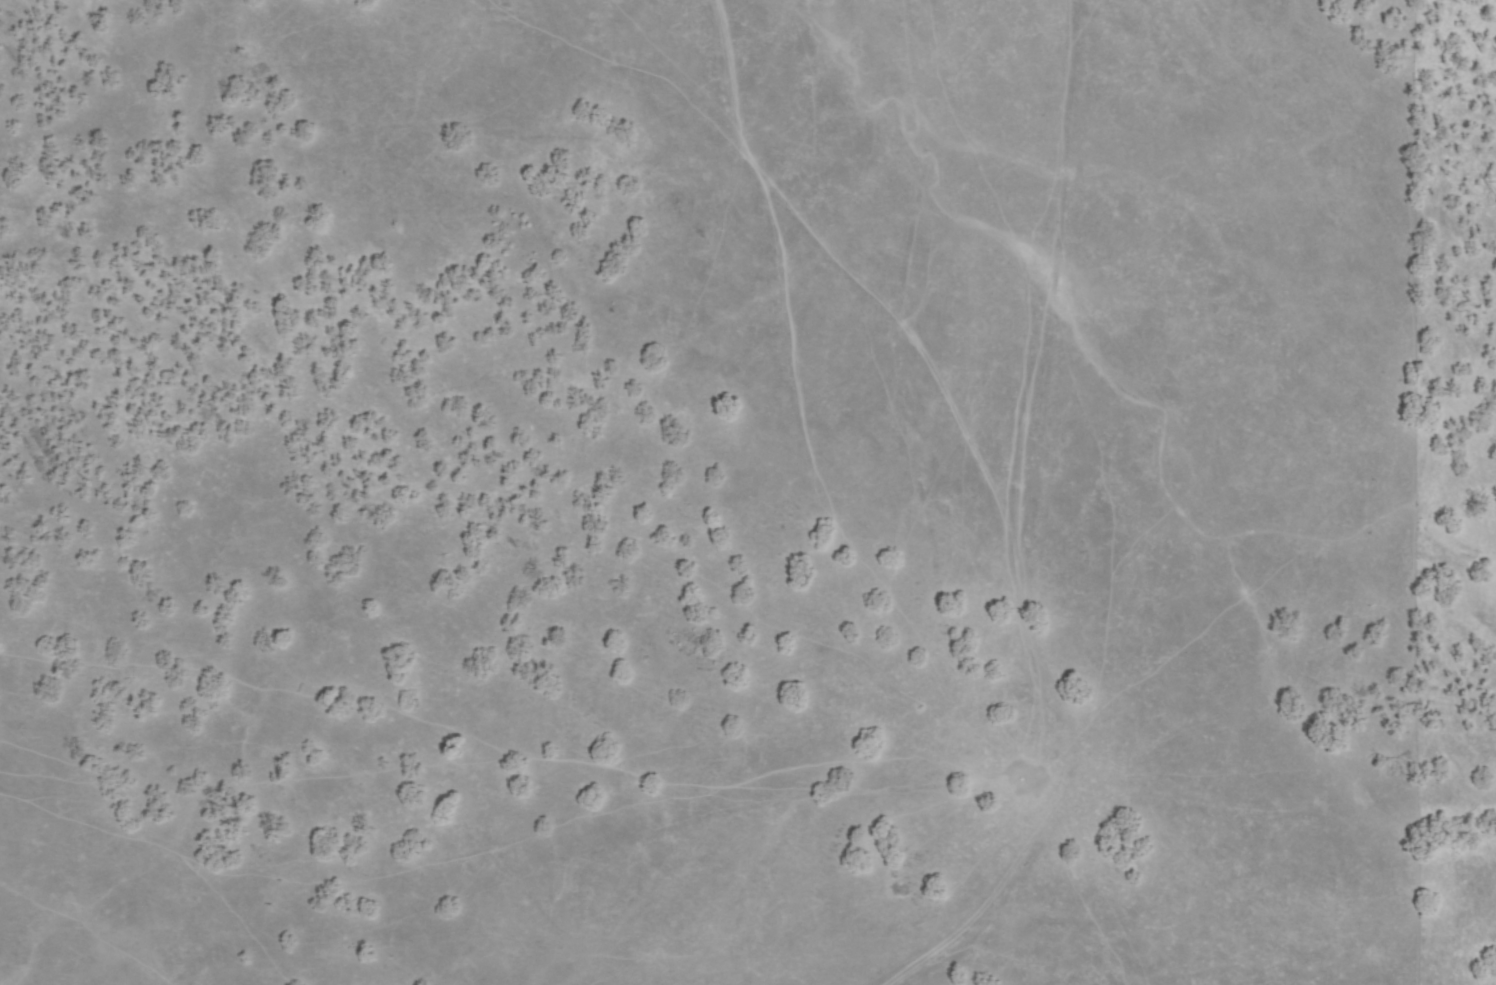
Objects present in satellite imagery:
road: (1023, 535)

